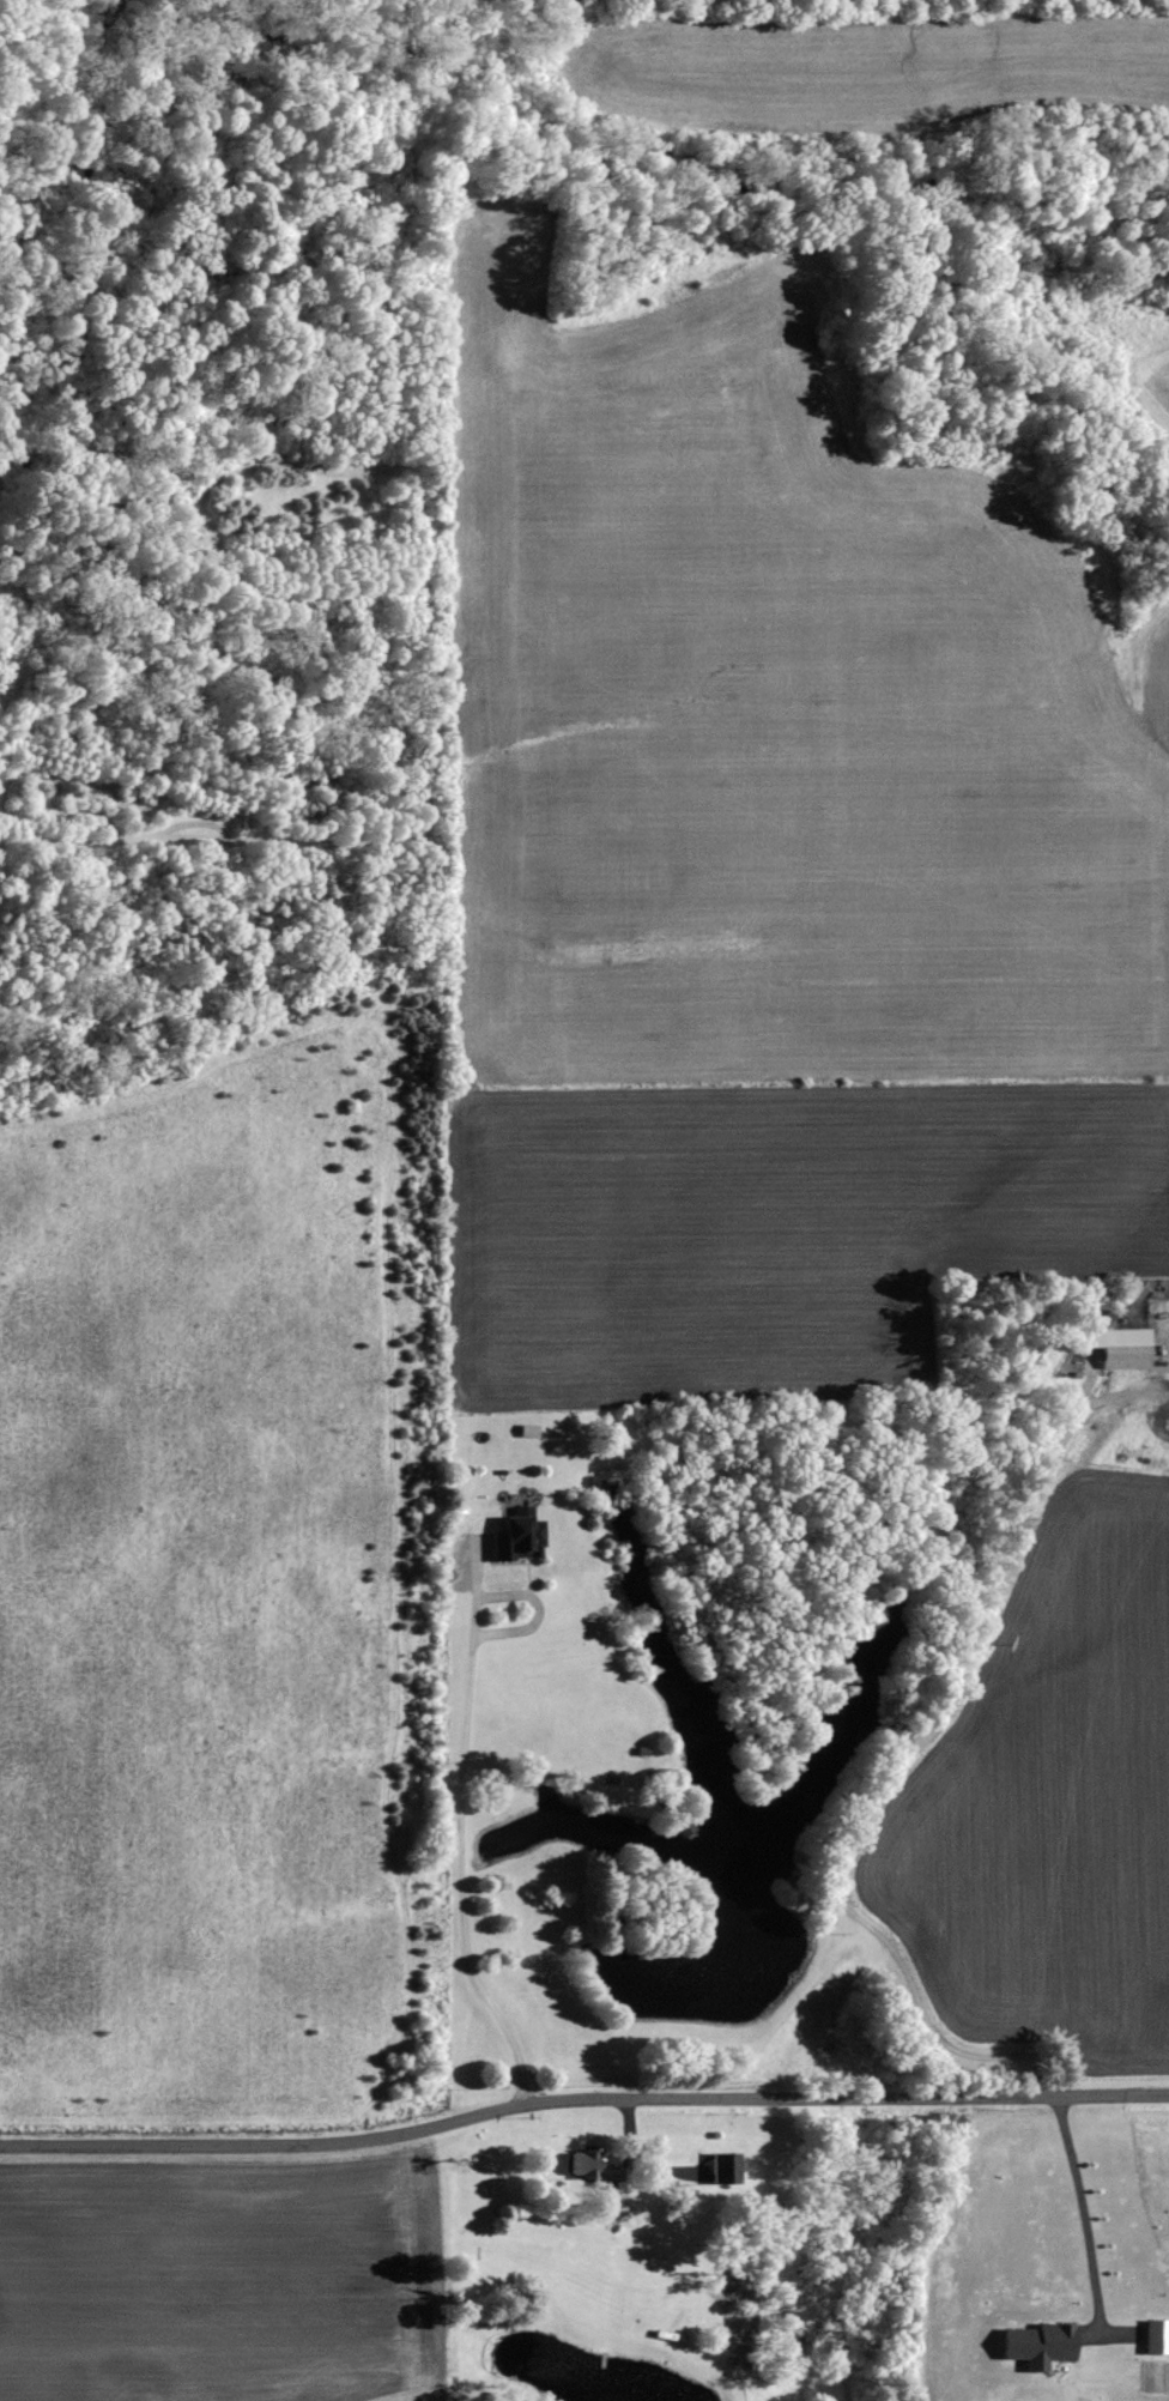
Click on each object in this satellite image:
building: (1119, 1348)
building: (517, 1536)
road: (891, 1774)
road: (581, 2093)
building: (722, 2170)
building: (601, 2171)
road: (1082, 2211)
building: (1156, 2339)
building: (1037, 2346)

